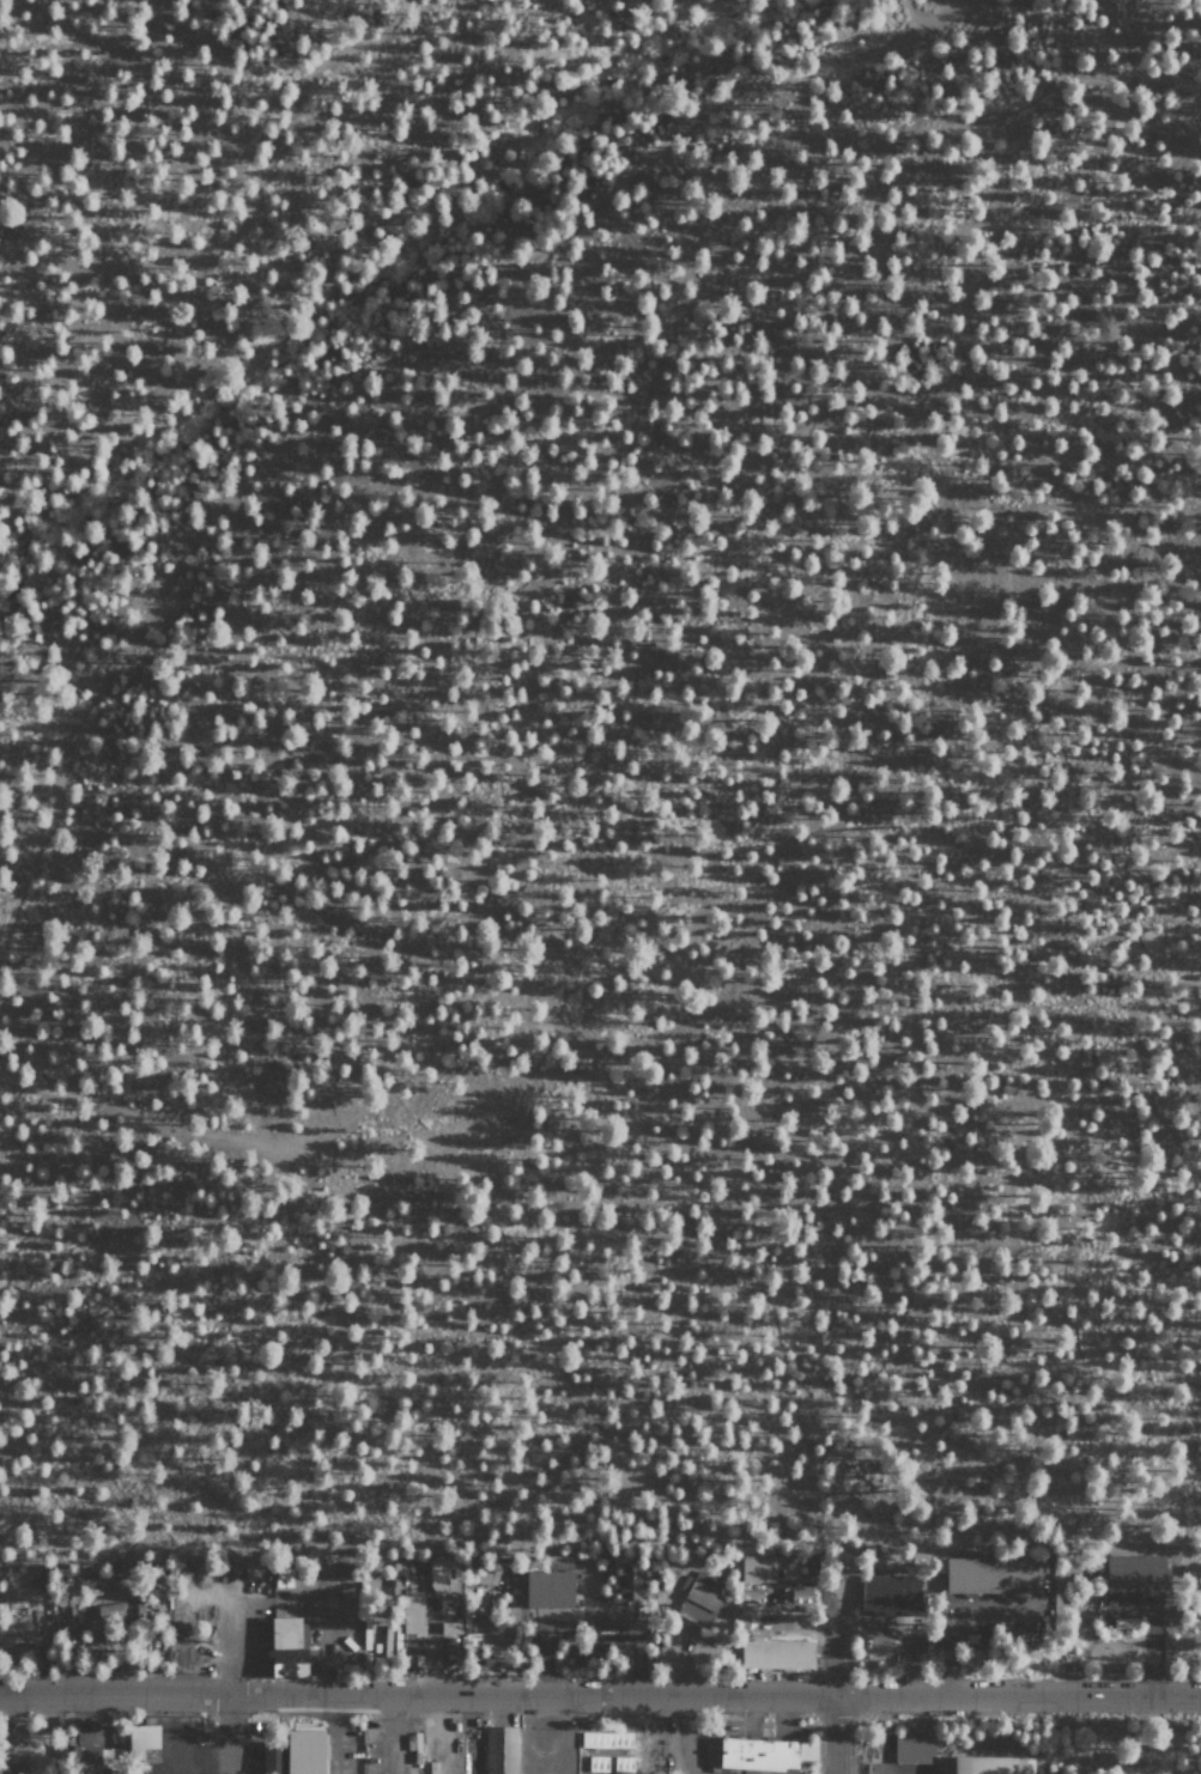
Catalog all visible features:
road: (911, 13)
road: (1059, 31)
road: (1029, 92)
road: (1133, 92)
road: (212, 111)
road: (954, 311)
road: (378, 366)
road: (1117, 877)
road: (232, 892)
road: (335, 1359)
building: (557, 1562)
building: (758, 1567)
building: (1134, 1573)
building: (991, 1574)
building: (442, 1575)
building: (283, 1576)
building: (629, 1582)
building: (548, 1588)
building: (796, 1594)
building: (890, 1594)
building: (700, 1599)
building: (110, 1610)
building: (412, 1612)
building: (450, 1628)
building: (6, 1634)
building: (290, 1647)
building: (776, 1654)
road: (600, 1694)
road: (827, 1733)
road: (224, 1734)
building: (607, 1739)
building: (142, 1742)
building: (914, 1748)
building: (501, 1750)
building: (307, 1751)
building: (764, 1752)
building: (85, 1756)
building: (273, 1757)
building: (12, 1760)
building: (598, 1763)
building: (623, 1763)
building: (993, 1764)

